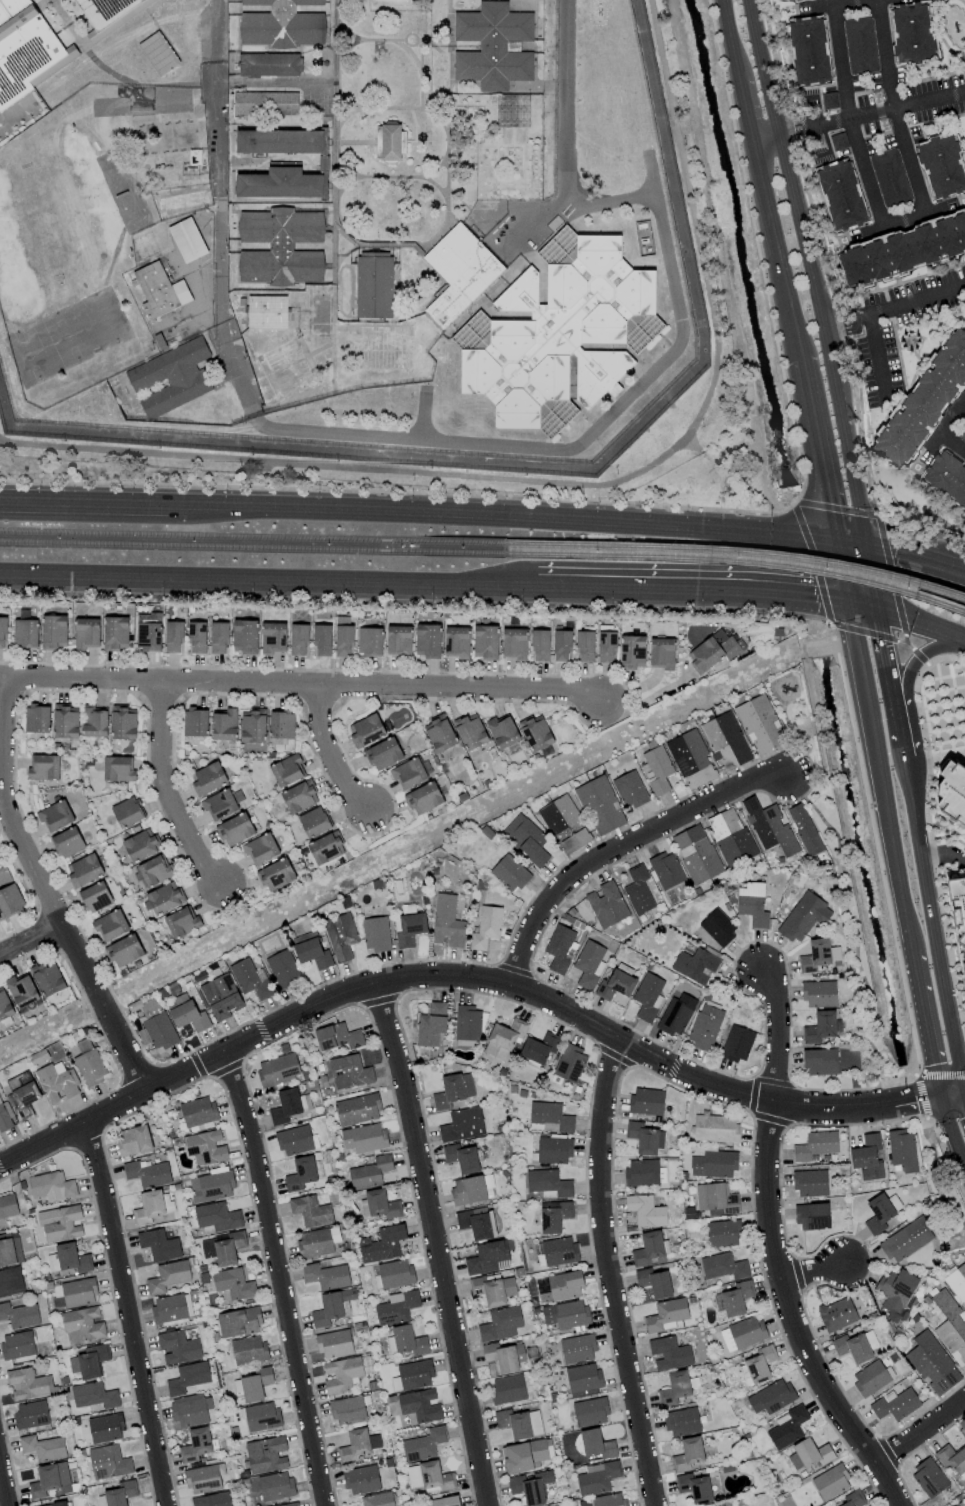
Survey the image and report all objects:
building: (779, 0)
building: (392, 2)
road: (842, 3)
road: (216, 14)
building: (282, 24)
building: (912, 34)
road: (731, 39)
building: (493, 46)
building: (859, 46)
building: (24, 50)
building: (808, 51)
building: (158, 53)
building: (270, 65)
building: (829, 100)
building: (265, 103)
road: (893, 109)
road: (747, 110)
road: (871, 111)
road: (848, 119)
building: (164, 137)
road: (767, 139)
building: (280, 141)
building: (389, 141)
building: (838, 141)
building: (941, 166)
building: (889, 178)
building: (280, 184)
building: (841, 195)
building: (181, 200)
road: (914, 219)
park: (45, 223)
road: (221, 225)
building: (187, 240)
building: (280, 246)
road: (776, 248)
building: (903, 250)
road: (808, 272)
building: (459, 273)
building: (373, 284)
building: (159, 290)
road: (911, 300)
building: (266, 312)
road: (840, 323)
building: (560, 335)
park: (65, 336)
road: (875, 358)
road: (666, 359)
building: (170, 377)
building: (924, 401)
road: (946, 428)
building: (962, 434)
road: (816, 447)
building: (946, 477)
road: (93, 505)
road: (510, 518)
railway: (251, 538)
traffic signals: (835, 540)
road: (852, 542)
traffic signals: (869, 544)
railway: (252, 547)
railway: (736, 551)
road: (916, 559)
railway: (737, 561)
road: (841, 572)
road: (874, 577)
road: (267, 582)
road: (621, 590)
road: (777, 596)
traffic signals: (848, 604)
road: (864, 607)
traffic signals: (880, 610)
road: (922, 626)
building: (2, 632)
building: (54, 632)
building: (86, 632)
building: (25, 633)
building: (115, 633)
building: (148, 636)
building: (245, 636)
building: (173, 637)
building: (197, 637)
building: (273, 637)
building: (343, 637)
building: (218, 638)
building: (298, 639)
building: (321, 640)
building: (398, 640)
building: (427, 640)
building: (369, 641)
building: (485, 641)
building: (456, 642)
building: (513, 643)
building: (540, 645)
building: (561, 646)
building: (585, 646)
building: (606, 647)
building: (632, 651)
building: (713, 652)
building: (661, 653)
road: (892, 686)
road: (908, 688)
road: (300, 689)
building: (37, 720)
building: (94, 721)
building: (64, 722)
building: (195, 722)
building: (122, 724)
building: (759, 724)
building: (224, 725)
building: (252, 726)
building: (280, 726)
building: (365, 730)
building: (470, 731)
building: (502, 731)
building: (535, 732)
building: (439, 733)
building: (725, 741)
road: (331, 752)
building: (383, 754)
road: (935, 756)
building: (690, 759)
building: (44, 767)
building: (117, 769)
building: (286, 770)
building: (408, 773)
road: (878, 774)
building: (207, 778)
building: (630, 790)
road: (174, 791)
building: (952, 791)
road: (15, 794)
building: (299, 797)
building: (423, 798)
building: (222, 804)
building: (600, 805)
building: (127, 812)
building: (55, 816)
building: (313, 822)
building: (563, 824)
building: (769, 827)
building: (235, 829)
building: (804, 829)
building: (730, 837)
building: (526, 839)
building: (67, 842)
building: (140, 845)
road: (619, 845)
building: (325, 848)
building: (260, 849)
road: (944, 852)
road: (838, 853)
building: (696, 854)
building: (84, 870)
building: (153, 870)
building: (666, 870)
building: (509, 873)
building: (276, 874)
road: (47, 890)
building: (638, 890)
building: (95, 897)
building: (163, 899)
building: (10, 900)
building: (606, 904)
building: (752, 904)
building: (958, 906)
building: (804, 917)
building: (181, 922)
building: (447, 922)
building: (110, 925)
building: (487, 925)
road: (931, 926)
building: (718, 927)
building: (408, 929)
building: (375, 934)
building: (340, 936)
road: (31, 939)
building: (560, 948)
building: (311, 950)
building: (124, 951)
building: (817, 955)
building: (589, 964)
building: (695, 965)
building: (963, 967)
building: (282, 968)
road: (437, 977)
building: (48, 978)
building: (250, 979)
building: (616, 983)
building: (22, 989)
building: (819, 994)
building: (221, 997)
building: (648, 997)
building: (5, 1006)
building: (187, 1013)
building: (676, 1015)
road: (923, 1019)
building: (155, 1023)
building: (431, 1025)
building: (705, 1025)
building: (467, 1026)
building: (821, 1027)
road: (774, 1035)
building: (338, 1037)
building: (504, 1038)
building: (737, 1044)
building: (538, 1049)
building: (820, 1062)
building: (570, 1064)
building: (90, 1067)
building: (277, 1069)
building: (349, 1072)
road: (941, 1076)
building: (57, 1082)
building: (453, 1090)
road: (964, 1090)
traffic signals: (963, 1091)
road: (950, 1092)
building: (22, 1093)
traffic signals: (938, 1094)
road: (964, 1094)
road: (923, 1096)
road: (914, 1097)
building: (646, 1101)
building: (285, 1106)
building: (358, 1109)
building: (198, 1111)
building: (5, 1116)
building: (549, 1117)
building: (462, 1125)
building: (715, 1128)
road: (950, 1133)
building: (364, 1138)
building: (644, 1138)
building: (133, 1140)
building: (294, 1140)
building: (816, 1145)
building: (206, 1147)
building: (554, 1150)
building: (902, 1150)
building: (867, 1157)
building: (461, 1158)
building: (714, 1164)
building: (370, 1172)
building: (147, 1173)
building: (302, 1173)
building: (642, 1173)
road: (930, 1176)
building: (548, 1182)
building: (810, 1183)
building: (212, 1185)
building: (51, 1186)
building: (468, 1190)
building: (716, 1198)
building: (380, 1204)
building: (8, 1206)
building: (148, 1207)
building: (646, 1210)
building: (310, 1211)
building: (880, 1212)
building: (554, 1215)
building: (216, 1216)
building: (812, 1216)
building: (477, 1223)
building: (60, 1224)
building: (723, 1233)
building: (906, 1239)
building: (317, 1242)
building: (382, 1244)
road: (431, 1244)
building: (159, 1245)
building: (223, 1248)
building: (10, 1249)
building: (650, 1249)
building: (559, 1251)
building: (489, 1257)
building: (68, 1259)
building: (722, 1266)
road: (812, 1269)
road: (607, 1272)
building: (393, 1274)
building: (168, 1276)
building: (326, 1276)
road: (279, 1277)
building: (10, 1281)
building: (654, 1282)
building: (957, 1282)
building: (233, 1284)
building: (564, 1285)
building: (493, 1289)
building: (79, 1291)
building: (895, 1292)
building: (734, 1299)
building: (332, 1307)
building: (172, 1308)
building: (396, 1308)
road: (124, 1314)
building: (567, 1314)
building: (837, 1314)
building: (19, 1315)
building: (666, 1315)
road: (788, 1316)
building: (239, 1322)
building: (82, 1324)
building: (500, 1324)
building: (951, 1327)
building: (742, 1334)
building: (406, 1341)
building: (334, 1344)
building: (178, 1347)
building: (852, 1348)
building: (577, 1349)
building: (248, 1350)
building: (669, 1353)
building: (504, 1356)
building: (90, 1361)
building: (932, 1363)
building: (757, 1366)
building: (342, 1373)
building: (412, 1376)
building: (188, 1377)
building: (870, 1378)
building: (583, 1379)
building: (28, 1384)
building: (253, 1384)
building: (674, 1388)
building: (508, 1389)
building: (94, 1395)
building: (771, 1397)
building: (895, 1404)
building: (420, 1405)
building: (191, 1410)
building: (347, 1410)
building: (590, 1412)
building: (31, 1415)
building: (261, 1416)
building: (405, 1420)
building: (682, 1422)
building: (519, 1423)
building: (962, 1425)
building: (787, 1427)
building: (106, 1428)
road: (920, 1430)
building: (357, 1444)
building: (596, 1444)
building: (196, 1445)
building: (423, 1445)
building: (42, 1447)
building: (266, 1454)
building: (688, 1454)
building: (809, 1454)
building: (523, 1456)
building: (951, 1458)
building: (108, 1462)
building: (429, 1476)
building: (597, 1477)
building: (928, 1478)
building: (49, 1479)
building: (202, 1479)
building: (361, 1480)
building: (831, 1482)
road: (4, 1483)
building: (275, 1486)
building: (530, 1487)
building: (694, 1488)
building: (117, 1494)
building: (377, 1499)
building: (853, 1499)
building: (212, 1500)
building: (608, 1500)
building: (442, 1501)
building: (585, 1503)
building: (54, 1504)
building: (289, 1504)

